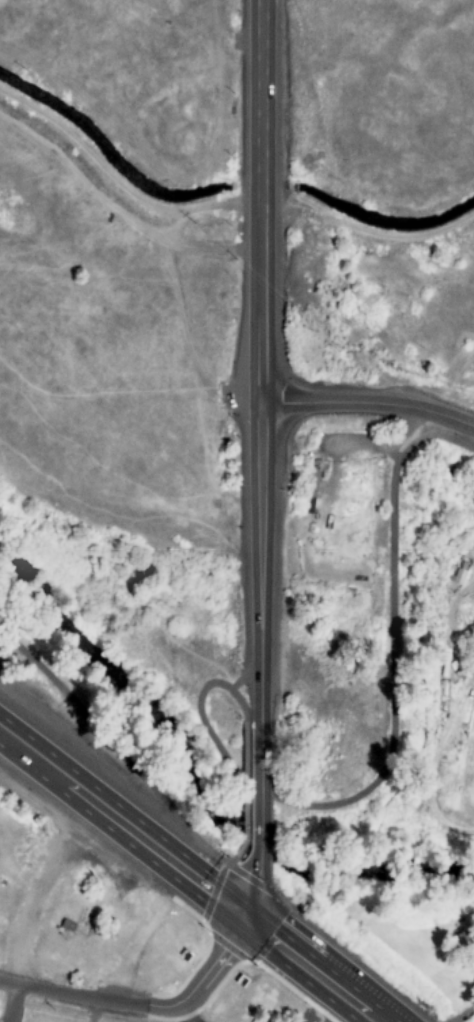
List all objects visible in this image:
road: (259, 358)
road: (368, 401)
road: (391, 653)
road: (241, 679)
road: (197, 702)
road: (6, 731)
road: (116, 748)
crop: (449, 759)
river: (193, 787)
road: (244, 791)
road: (254, 791)
road: (232, 862)
road: (241, 874)
road: (196, 878)
road: (41, 885)
road: (251, 890)
traffic signals: (242, 913)
building: (465, 949)
road: (9, 1002)
road: (146, 1010)
road: (464, 1014)

